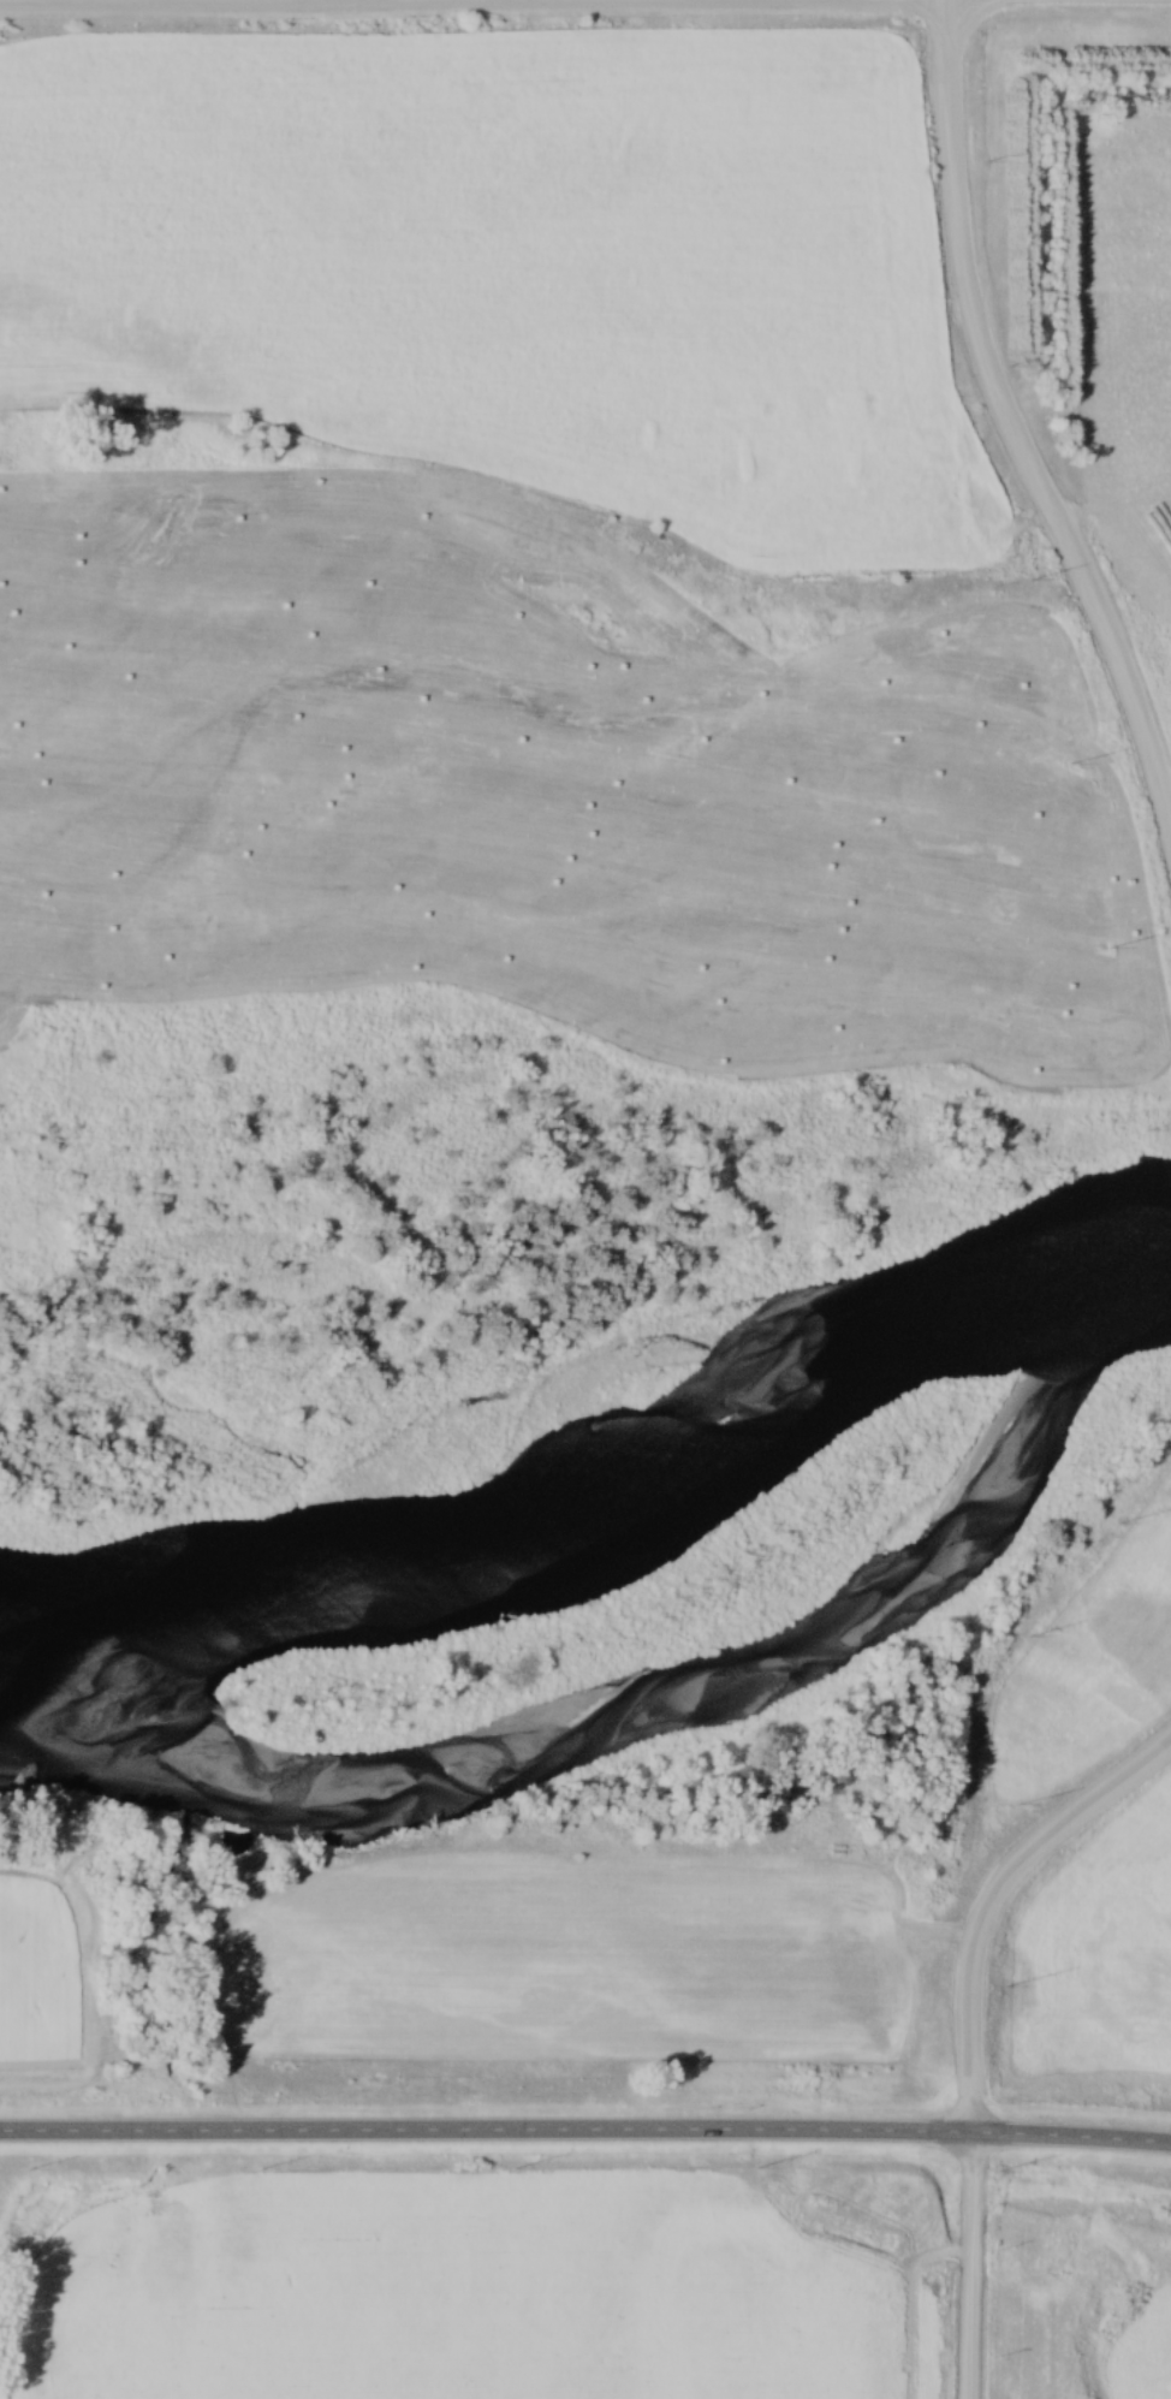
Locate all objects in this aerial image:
road: (119, 0)
road: (1014, 422)
river: (624, 1710)
road: (995, 1899)
road: (585, 2127)
road: (977, 2264)

